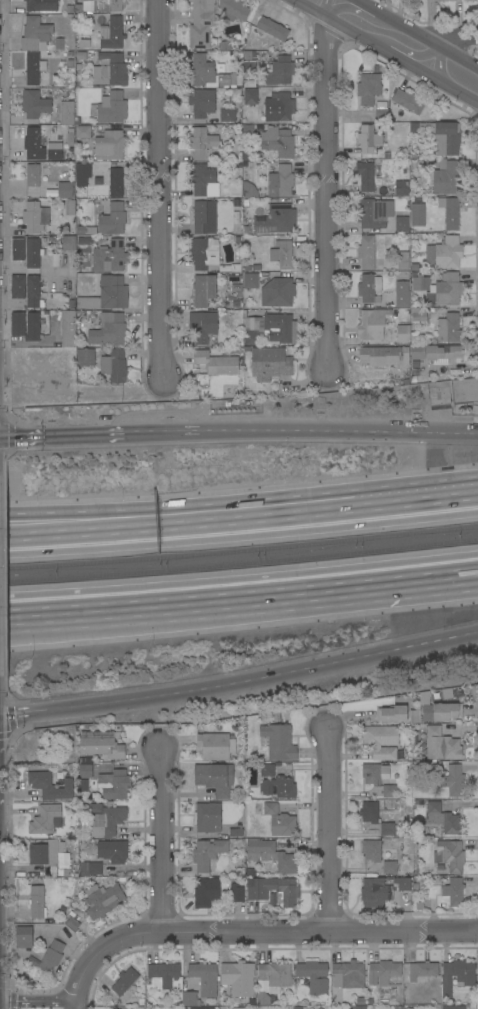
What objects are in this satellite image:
building: (443, 0)
building: (467, 0)
building: (41, 5)
building: (110, 5)
building: (68, 8)
building: (232, 10)
building: (201, 23)
building: (270, 29)
building: (34, 33)
building: (111, 34)
road: (431, 35)
building: (58, 43)
road: (398, 43)
building: (84, 44)
building: (80, 54)
building: (246, 60)
building: (69, 62)
building: (33, 68)
building: (110, 69)
building: (200, 69)
building: (279, 71)
building: (229, 79)
building: (368, 88)
building: (250, 96)
building: (407, 101)
building: (202, 102)
building: (34, 104)
building: (278, 107)
building: (109, 108)
building: (381, 111)
building: (65, 112)
building: (226, 114)
building: (220, 130)
building: (82, 131)
building: (248, 131)
building: (440, 135)
building: (367, 139)
building: (279, 142)
building: (33, 144)
building: (203, 144)
building: (109, 145)
building: (54, 151)
building: (83, 173)
building: (32, 175)
building: (367, 176)
building: (446, 177)
building: (200, 179)
building: (280, 181)
building: (115, 182)
building: (401, 188)
road: (158, 189)
building: (65, 190)
building: (248, 190)
road: (324, 190)
building: (68, 206)
building: (373, 212)
building: (449, 212)
building: (204, 216)
building: (35, 217)
building: (112, 219)
building: (276, 219)
building: (401, 224)
building: (86, 241)
building: (67, 242)
building: (17, 249)
building: (203, 252)
building: (366, 252)
building: (448, 252)
building: (32, 253)
building: (282, 254)
building: (106, 256)
building: (250, 280)
building: (420, 283)
building: (17, 286)
building: (369, 288)
building: (448, 289)
building: (203, 290)
building: (32, 292)
building: (277, 292)
building: (106, 294)
building: (401, 294)
building: (418, 315)
building: (372, 324)
building: (203, 327)
building: (67, 328)
building: (448, 328)
building: (17, 329)
building: (108, 329)
building: (270, 329)
building: (403, 334)
building: (417, 351)
building: (442, 353)
building: (383, 355)
building: (85, 356)
building: (216, 362)
building: (270, 363)
building: (113, 365)
road: (339, 429)
road: (163, 433)
road: (63, 436)
road: (420, 495)
road: (181, 503)
road: (181, 521)
railway: (239, 549)
railway: (239, 563)
road: (239, 596)
road: (257, 679)
building: (442, 711)
road: (17, 712)
building: (392, 714)
building: (380, 741)
building: (278, 742)
building: (100, 744)
building: (441, 745)
building: (215, 746)
building: (267, 770)
building: (85, 771)
building: (374, 773)
building: (213, 775)
building: (452, 780)
building: (114, 784)
building: (50, 786)
building: (278, 787)
building: (389, 791)
building: (221, 793)
building: (270, 808)
building: (369, 812)
building: (207, 817)
building: (45, 819)
building: (105, 819)
building: (442, 819)
building: (282, 825)
building: (387, 829)
road: (328, 830)
building: (235, 832)
road: (161, 841)
building: (371, 850)
building: (112, 851)
building: (207, 853)
building: (270, 855)
building: (449, 855)
building: (50, 857)
building: (390, 867)
building: (90, 868)
building: (402, 884)
building: (453, 891)
building: (206, 892)
building: (236, 892)
building: (287, 892)
building: (375, 892)
building: (102, 900)
building: (36, 901)
building: (71, 923)
road: (254, 932)
building: (24, 937)
building: (51, 956)
building: (20, 965)
building: (382, 971)
building: (422, 971)
building: (477, 973)
building: (162, 975)
building: (347, 975)
building: (456, 975)
building: (274, 976)
building: (313, 976)
building: (204, 978)
building: (238, 978)
building: (124, 981)
building: (188, 998)
building: (262, 998)
road: (37, 999)
building: (360, 1001)
road: (71, 1007)
road: (73, 1007)
building: (358, 1007)
building: (452, 1007)
building: (116, 1008)
building: (237, 1008)

